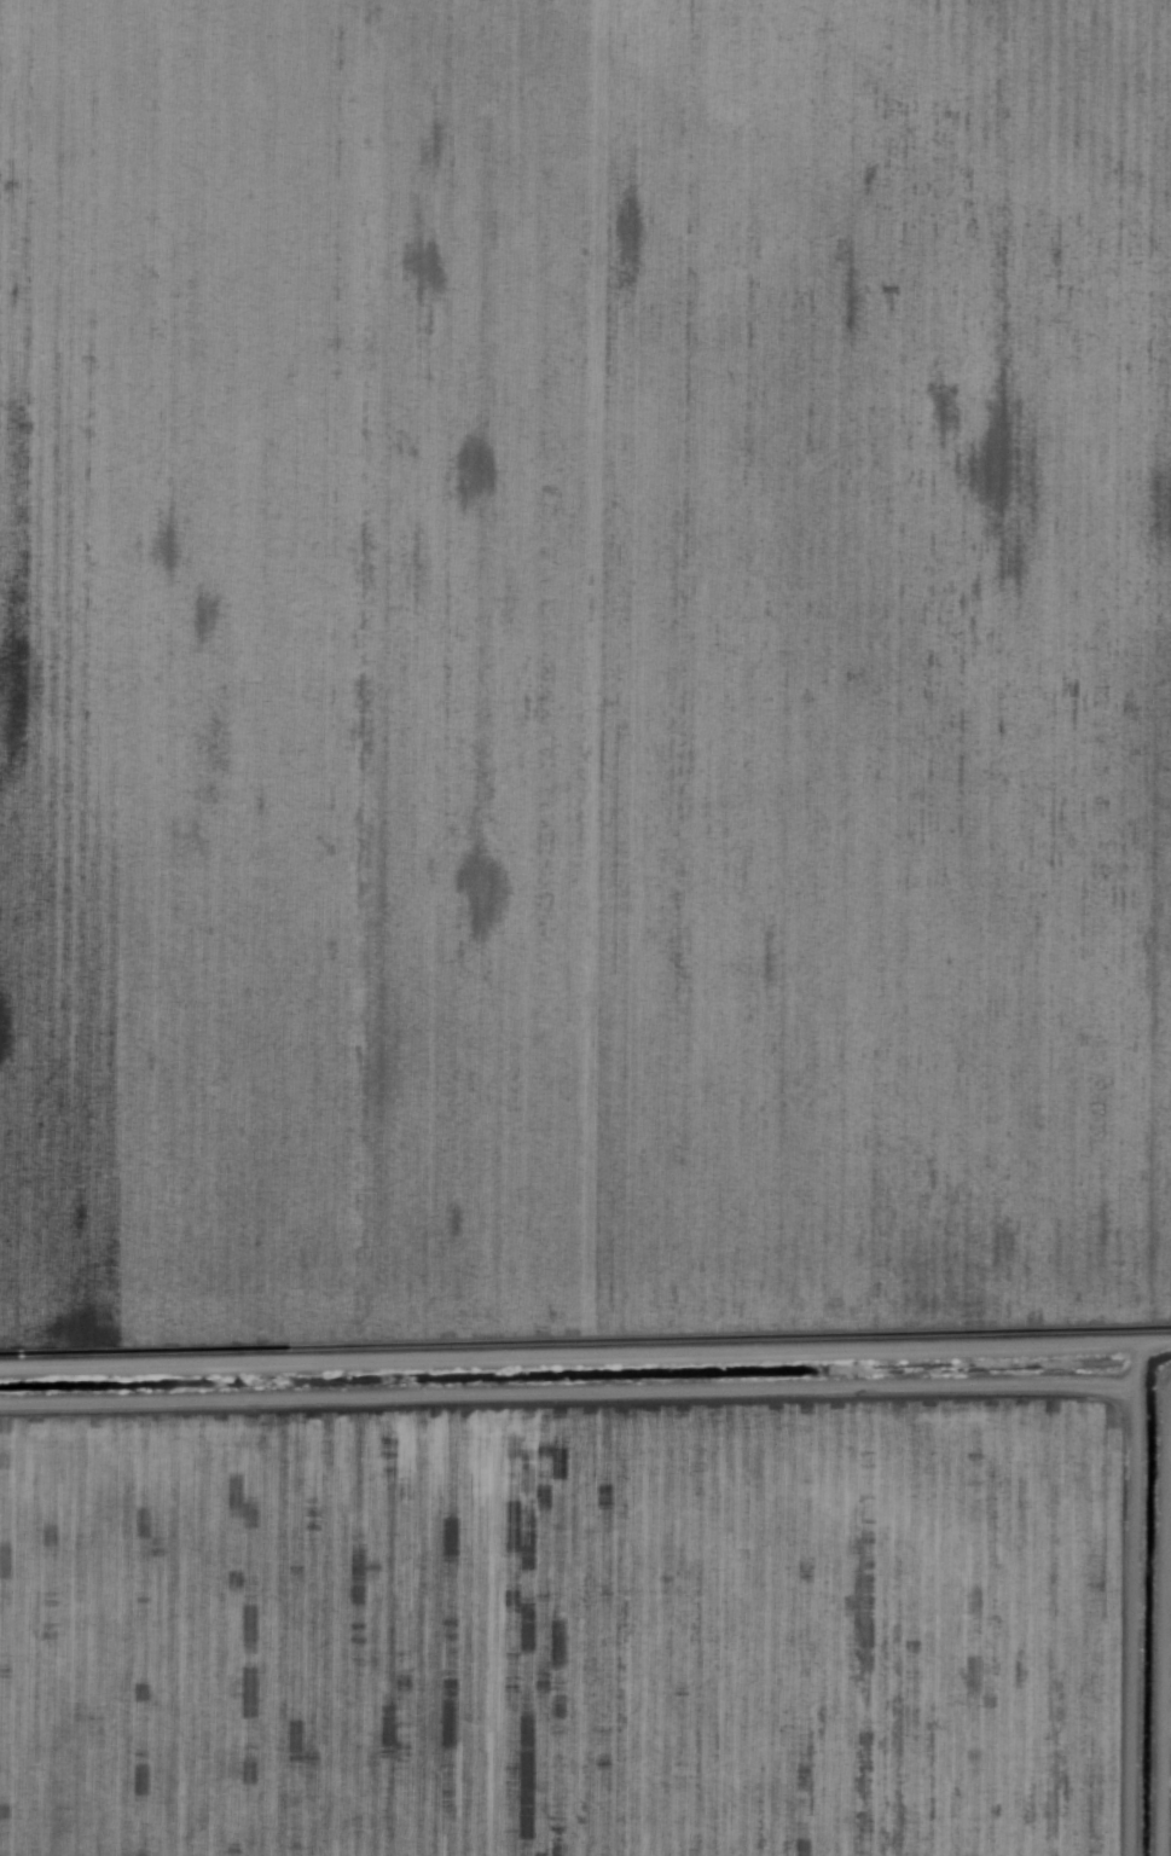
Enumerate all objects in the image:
crop: (584, 666)
crop: (608, 1444)
crop: (582, 1675)
crop: (1170, 1773)

